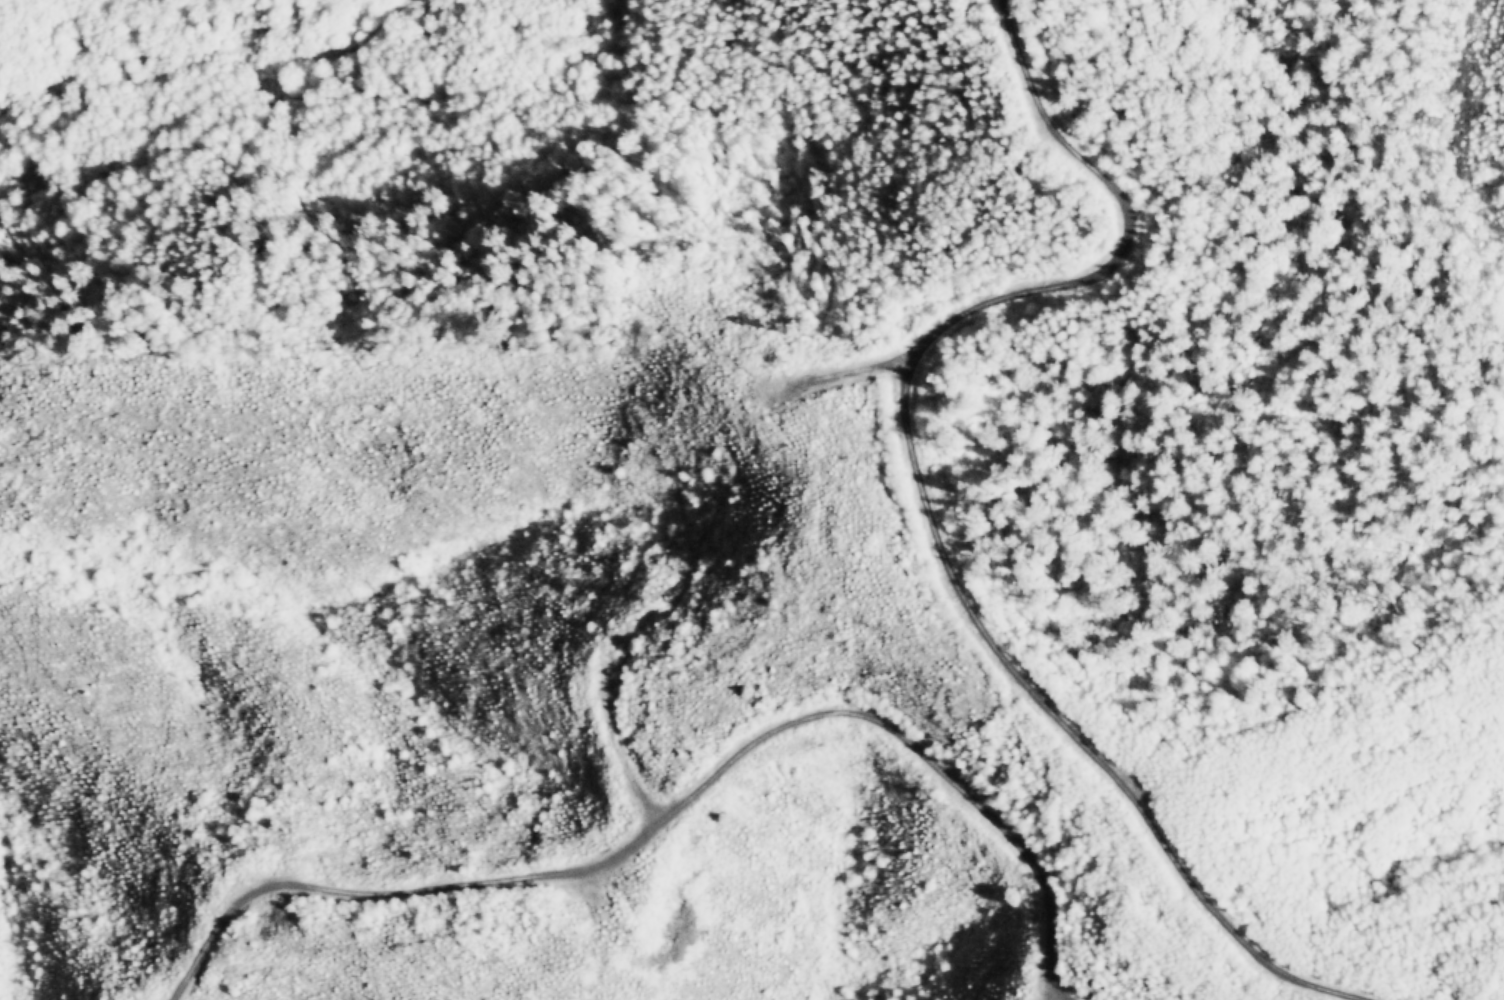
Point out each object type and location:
road: (207, 53)
road: (883, 376)
road: (932, 456)
road: (693, 821)

